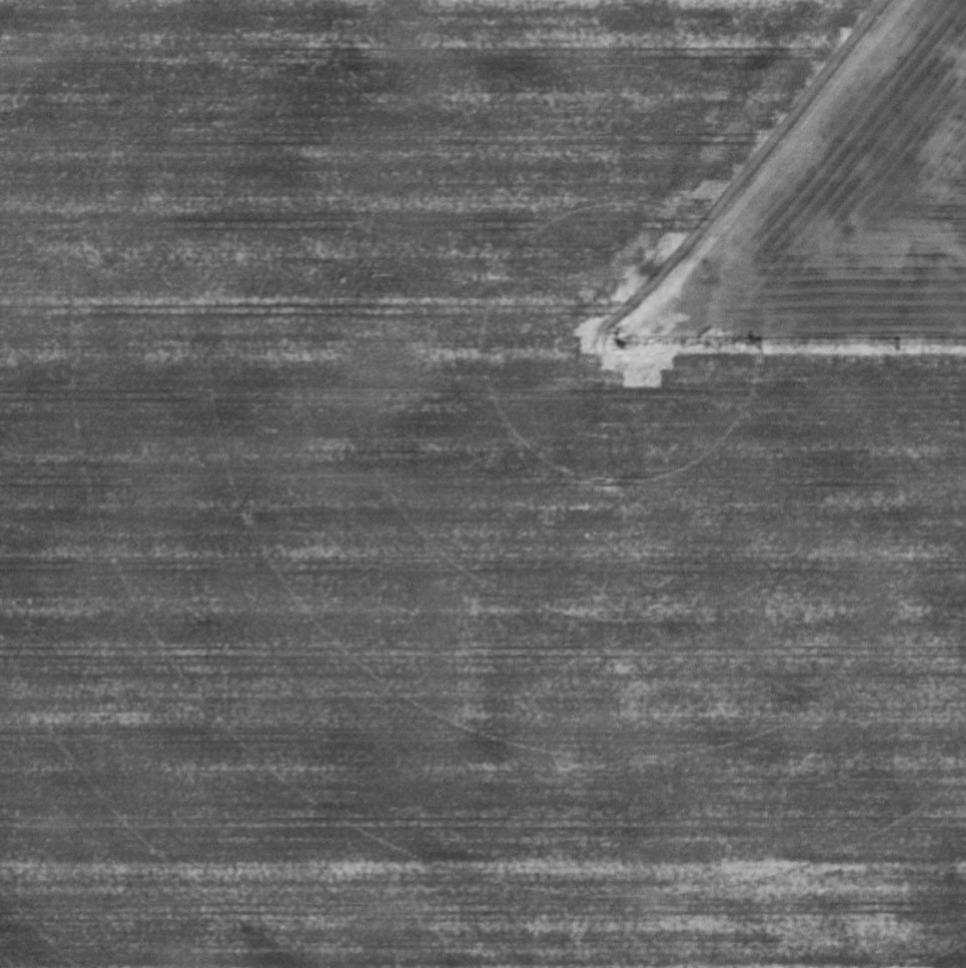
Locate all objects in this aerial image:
crop: (483, 484)

